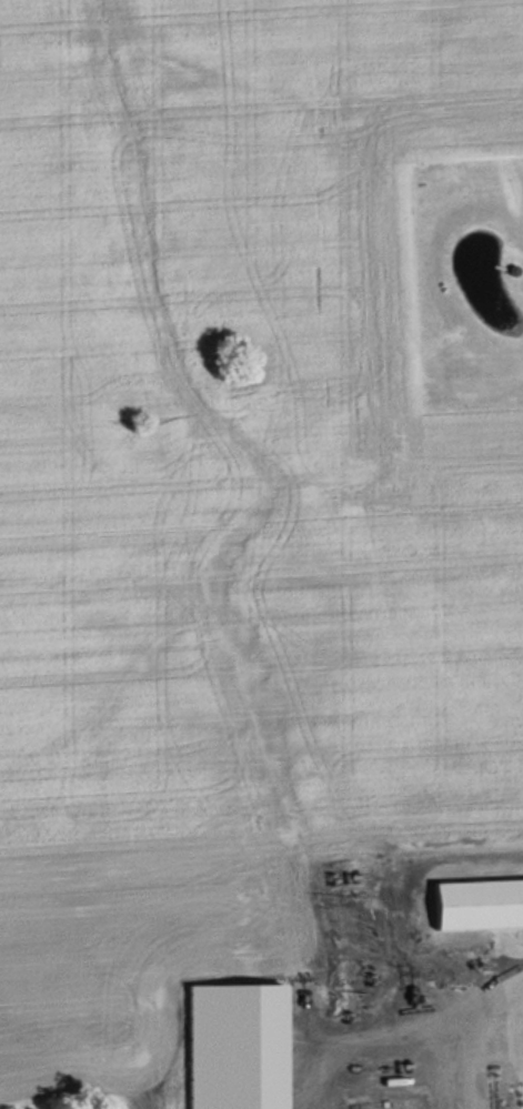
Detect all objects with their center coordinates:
building: (477, 904)

